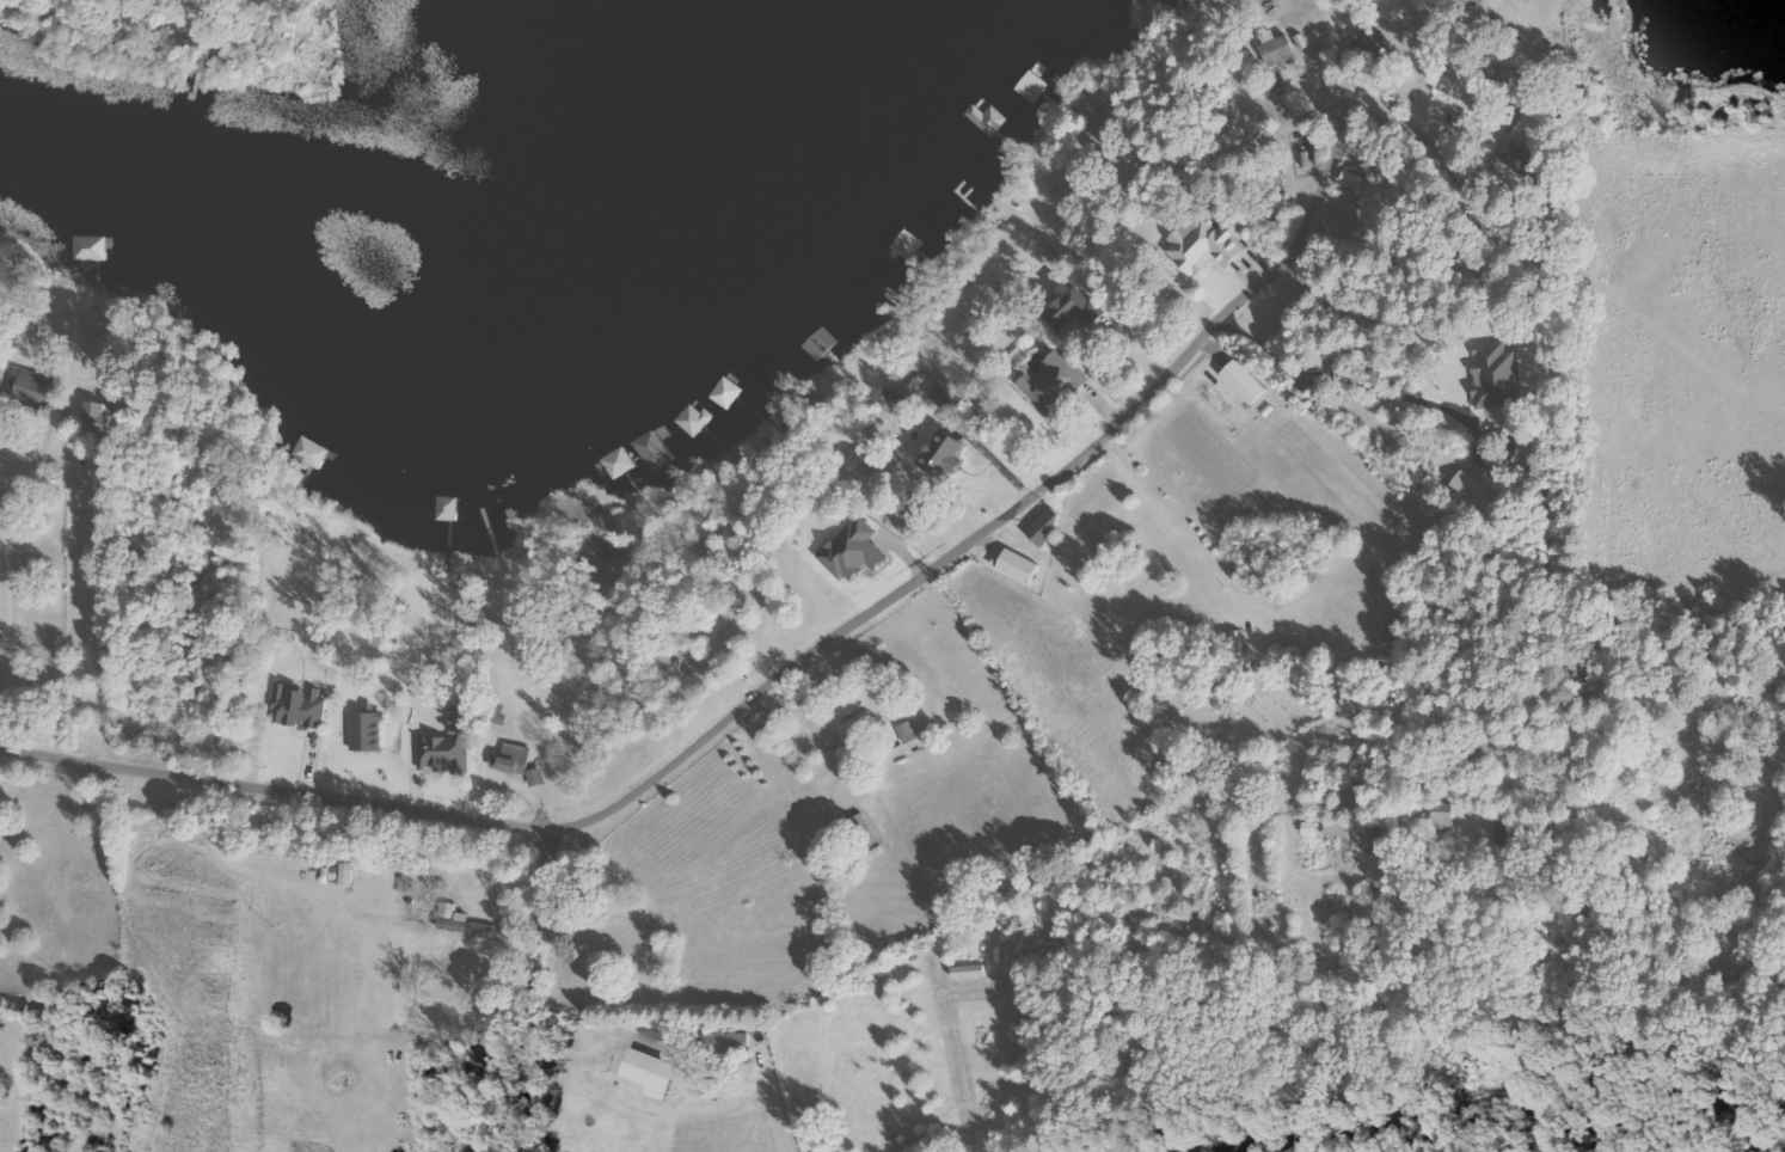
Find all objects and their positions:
building: (1278, 50)
building: (1033, 87)
road: (1335, 106)
building: (988, 120)
building: (1357, 178)
building: (1204, 246)
building: (92, 250)
building: (1495, 376)
building: (1245, 382)
building: (1055, 384)
building: (29, 386)
building: (98, 419)
building: (695, 421)
building: (655, 452)
building: (313, 453)
building: (945, 456)
building: (617, 465)
building: (1477, 491)
building: (448, 510)
building: (855, 552)
building: (1020, 568)
road: (777, 676)
building: (299, 707)
building: (859, 729)
building: (909, 734)
building: (450, 743)
building: (514, 760)
building: (538, 778)
building: (1336, 831)
building: (462, 923)
road: (529, 988)
road: (1566, 1060)
building: (651, 1074)

